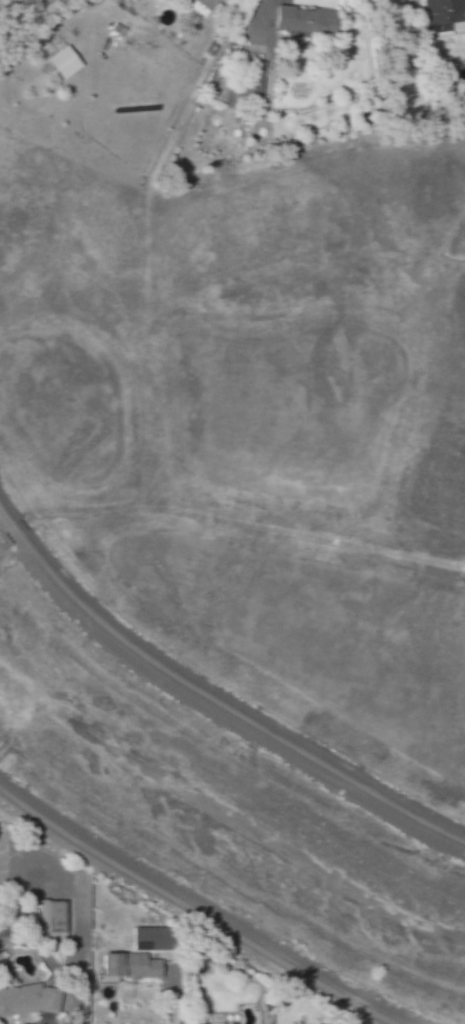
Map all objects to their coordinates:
building: (204, 3)
building: (445, 12)
building: (303, 20)
building: (61, 63)
building: (252, 80)
road: (214, 702)
road: (197, 910)
building: (51, 916)
building: (147, 939)
building: (127, 966)
building: (27, 1000)
building: (209, 1018)

